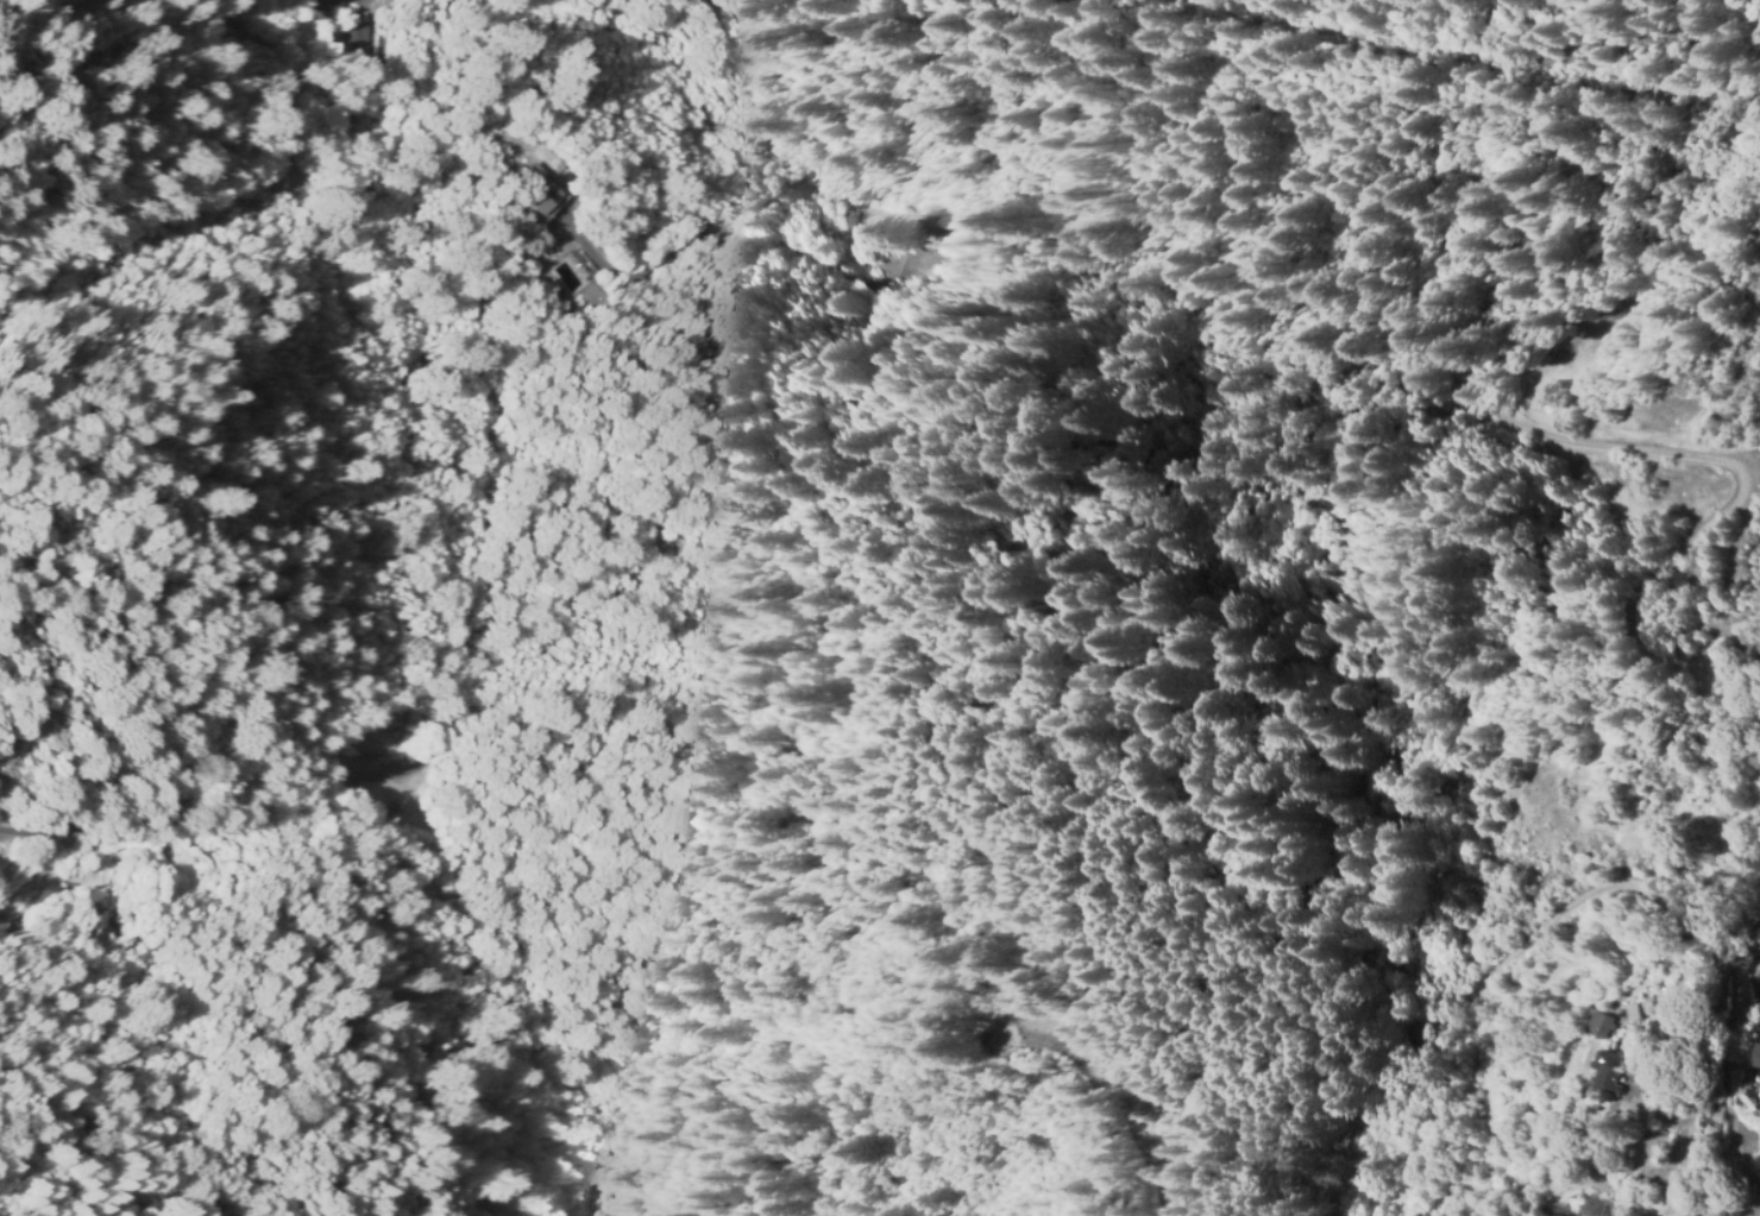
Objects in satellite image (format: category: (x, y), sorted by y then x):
building: (366, 45)
building: (534, 196)
building: (541, 210)
building: (868, 250)
building: (904, 278)
road: (1163, 296)
building: (421, 711)
building: (1759, 987)
building: (1618, 1012)
building: (1632, 1013)
building: (1598, 1025)
building: (1586, 1026)
road: (1420, 1032)
building: (1759, 1057)
building: (1598, 1075)

